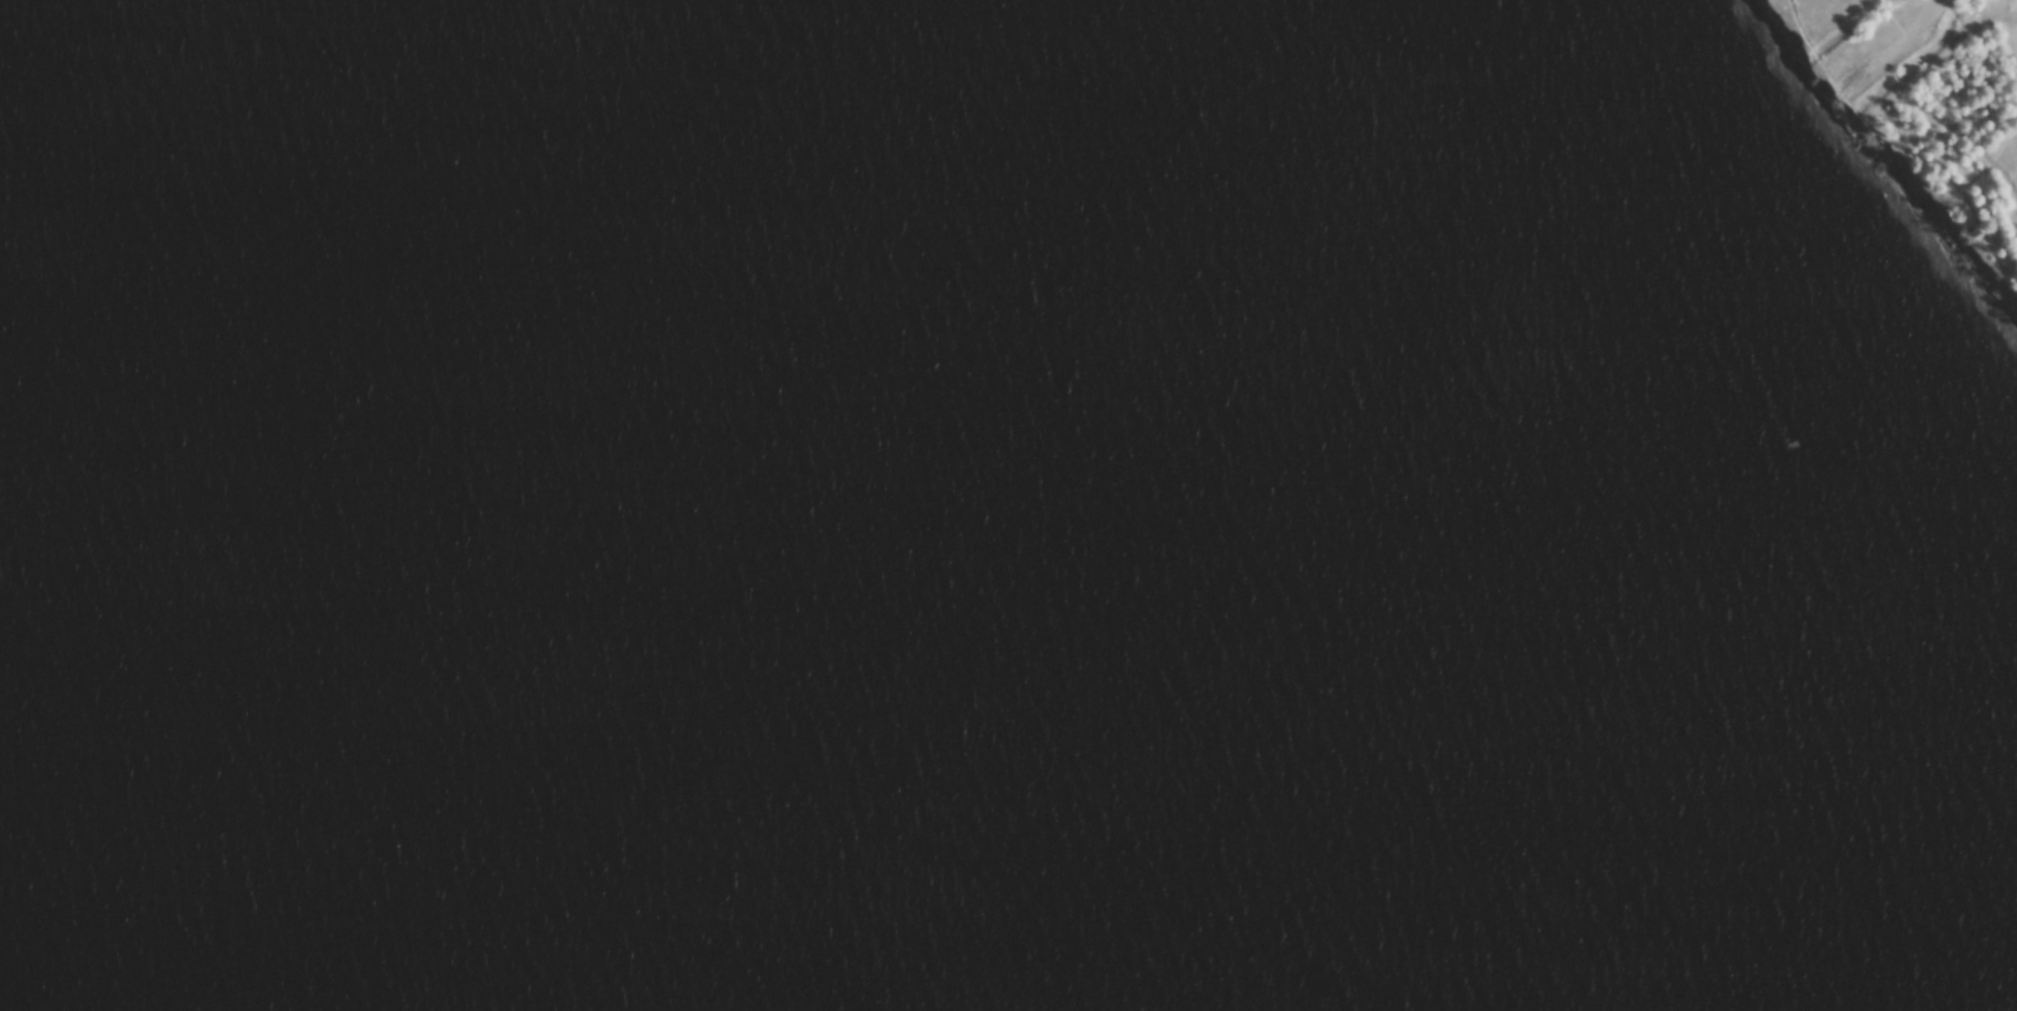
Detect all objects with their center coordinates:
road: (1921, 67)
park: (1913, 131)
road: (1896, 163)

